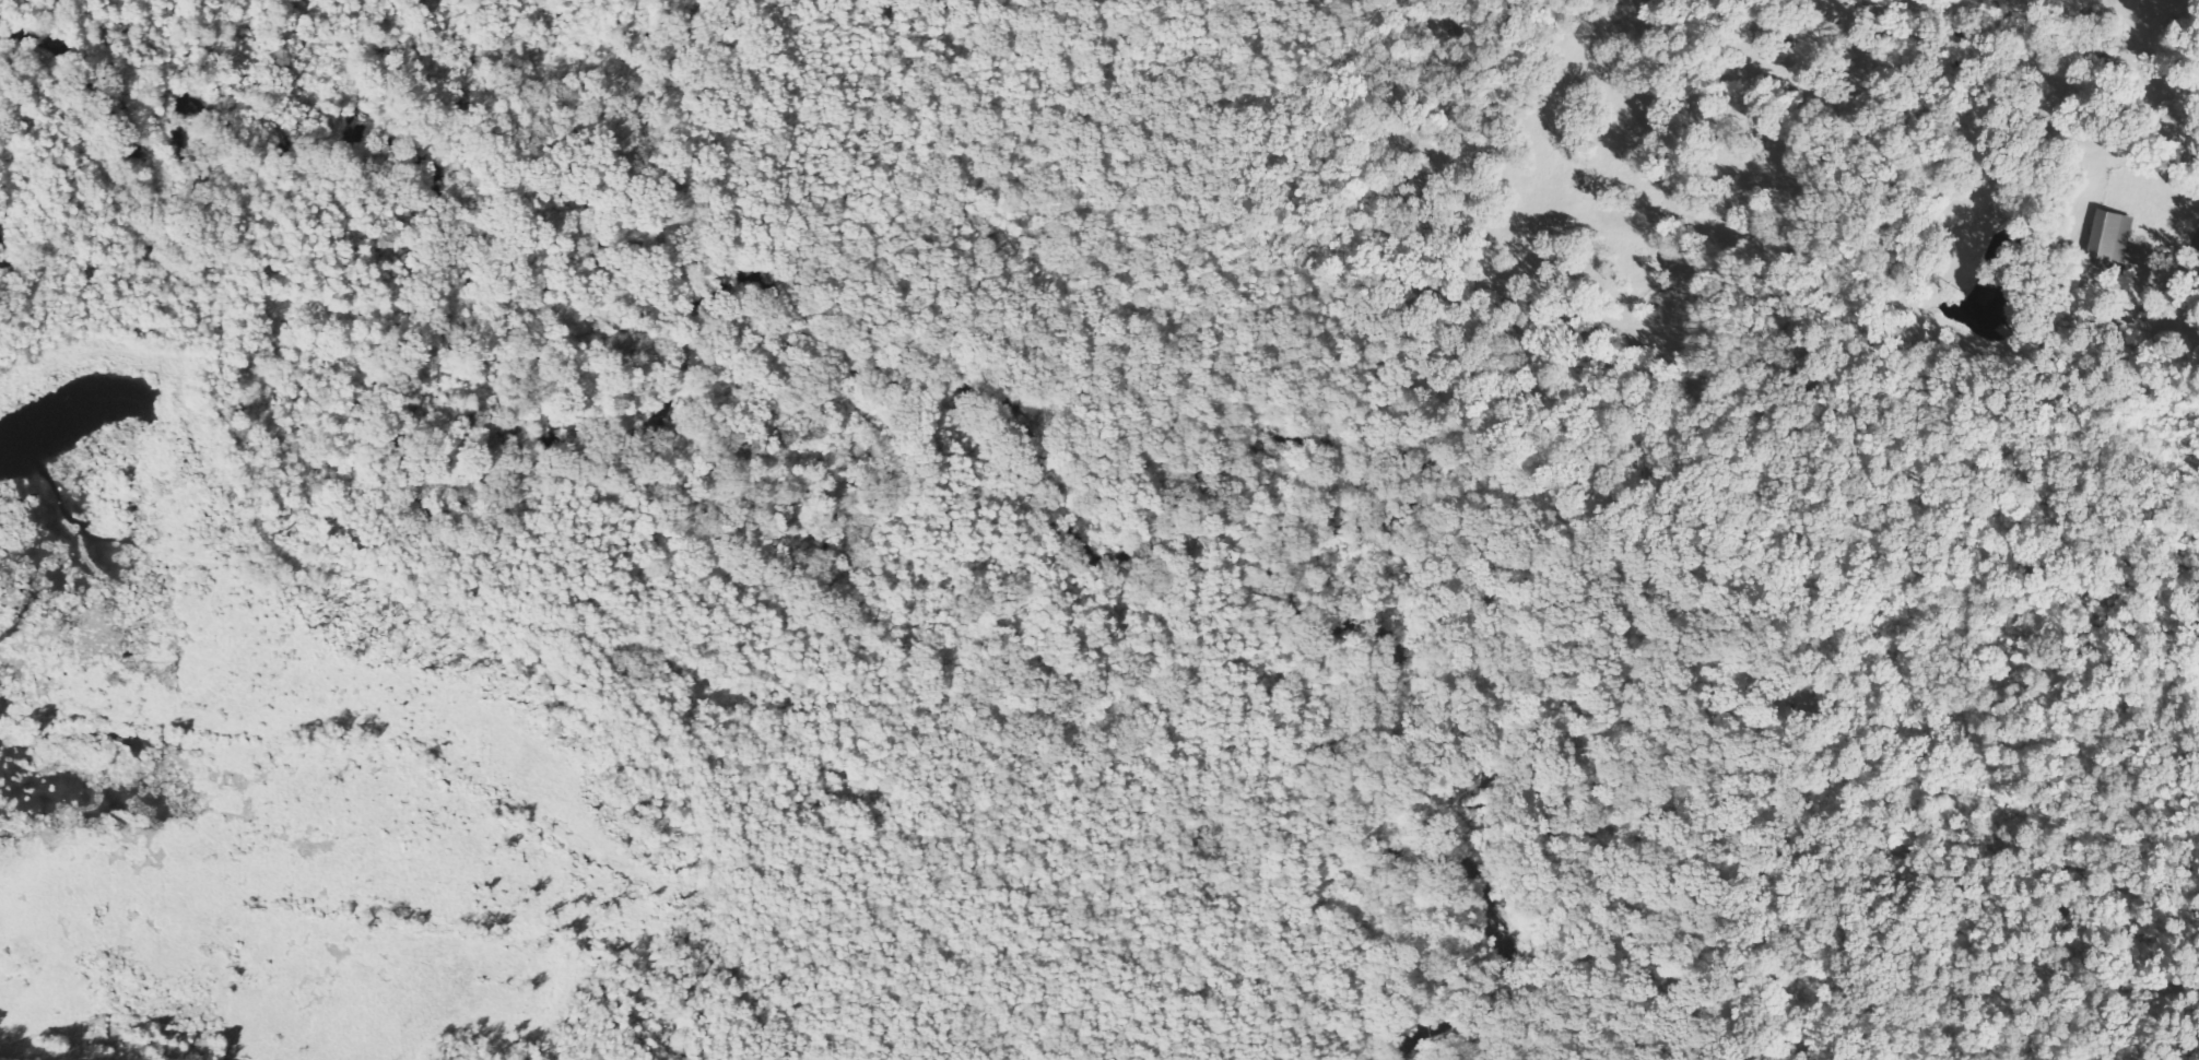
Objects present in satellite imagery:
building: (2119, 237)

